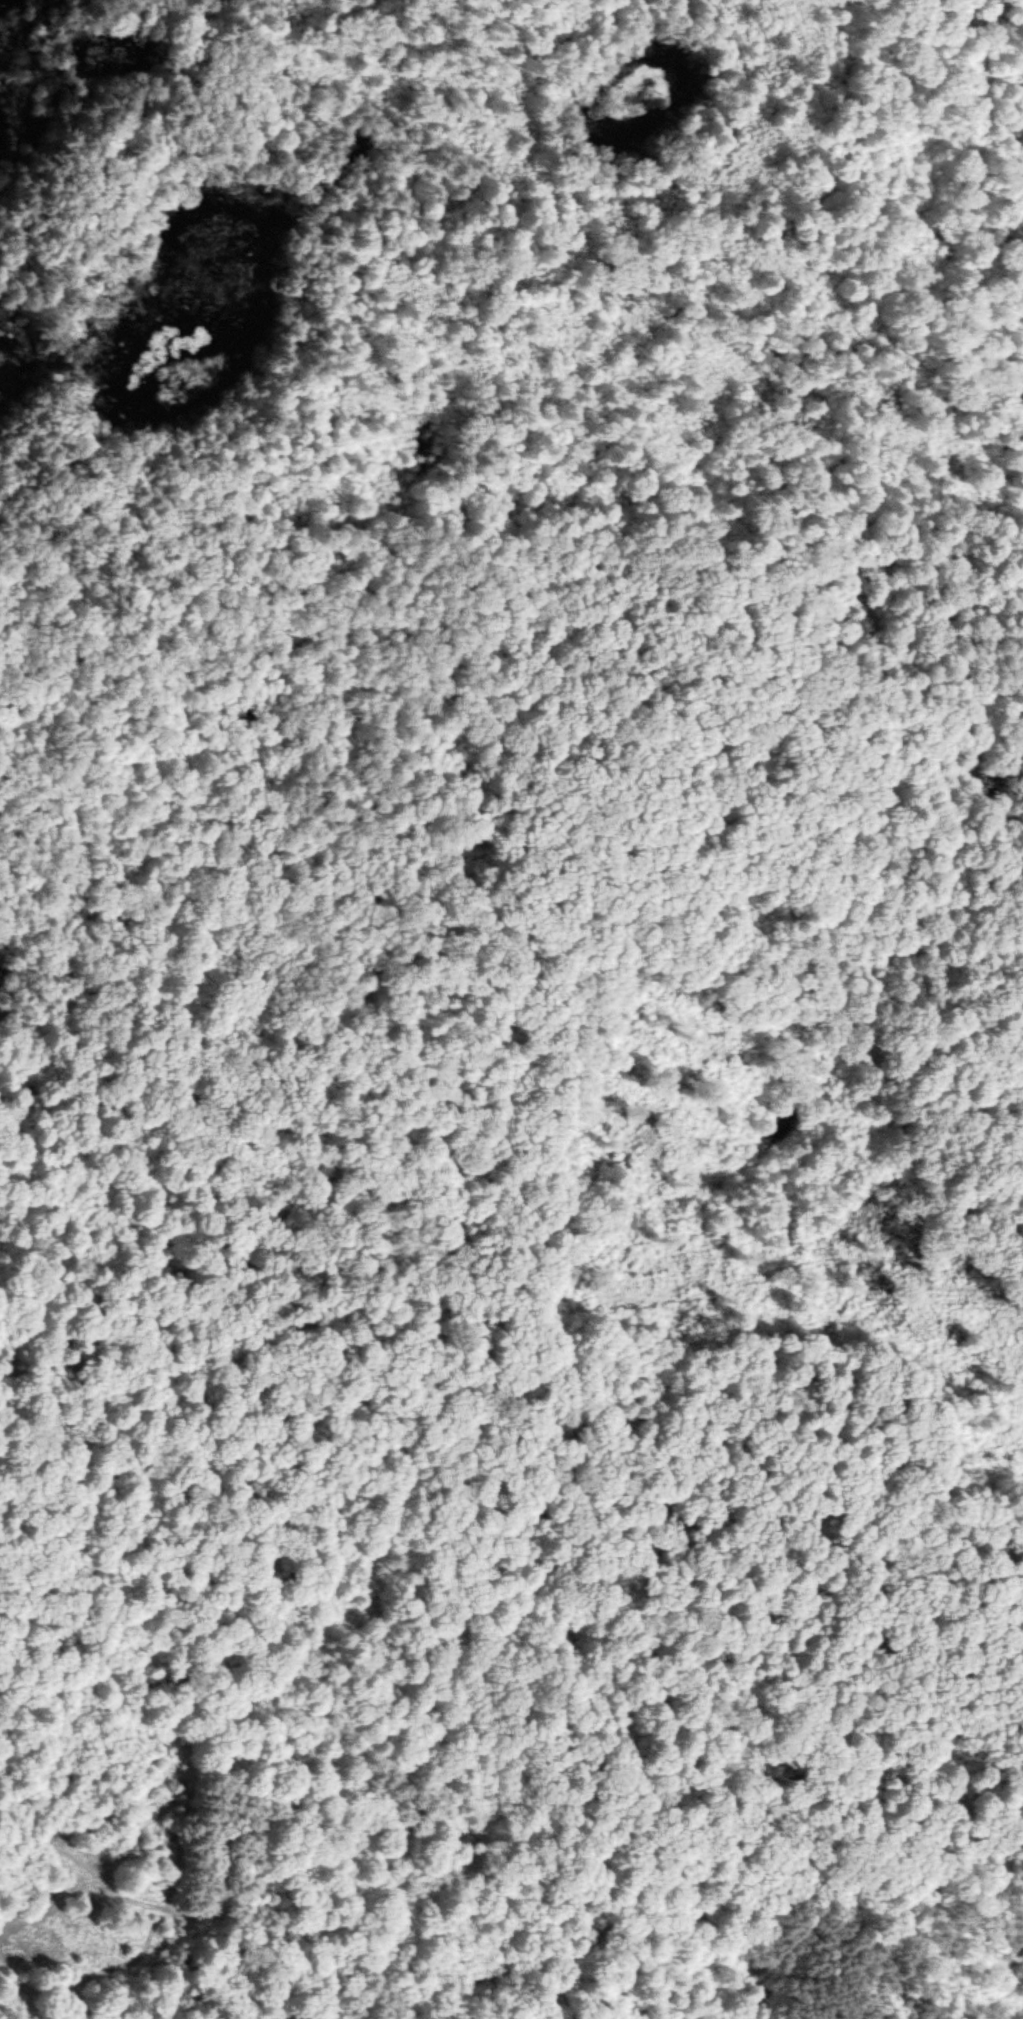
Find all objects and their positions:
road: (192, 1911)

